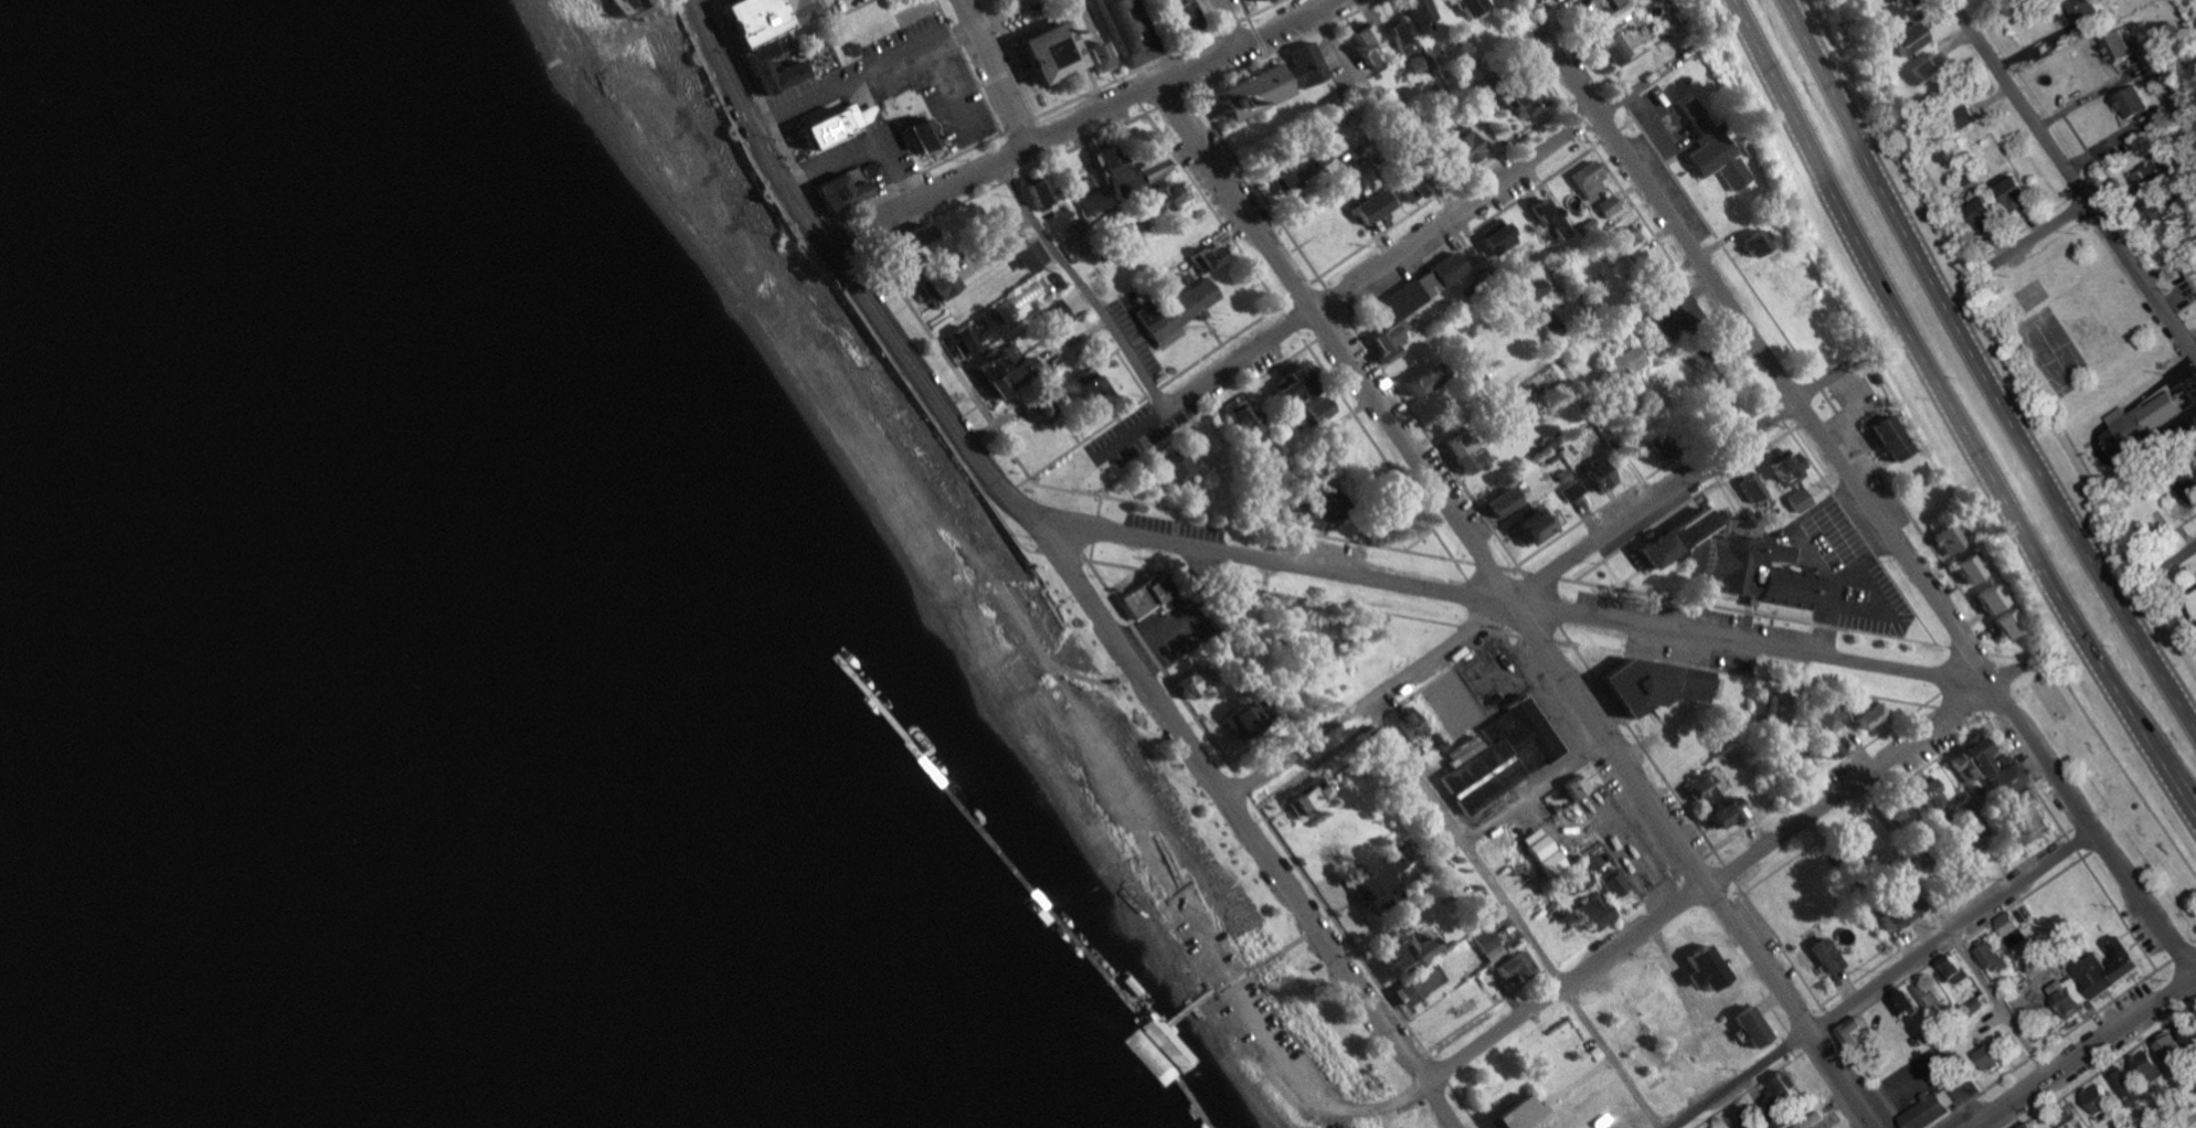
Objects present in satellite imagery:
building: (1566, 0)
road: (713, 3)
road: (723, 3)
park: (627, 6)
building: (1464, 7)
road: (1262, 9)
road: (626, 10)
building: (2081, 10)
road: (1245, 12)
building: (1610, 15)
building: (1174, 17)
road: (1206, 17)
building: (764, 19)
road: (1228, 24)
road: (1229, 25)
building: (1405, 28)
building: (1124, 29)
road: (609, 38)
road: (1259, 40)
building: (1901, 40)
building: (1359, 44)
road: (1583, 45)
building: (2112, 46)
road: (1282, 47)
building: (764, 49)
building: (1610, 51)
building: (1049, 55)
building: (1091, 56)
road: (1529, 57)
road: (1004, 58)
road: (890, 60)
parking lot: (1340, 61)
road: (1084, 64)
road: (967, 66)
road: (1018, 67)
building: (1922, 71)
road: (994, 74)
building: (773, 76)
road: (1122, 76)
parking lot: (824, 86)
building: (1266, 86)
road: (943, 91)
building: (1515, 98)
road: (1621, 98)
road: (1168, 102)
building: (2130, 103)
parking lot: (956, 109)
road: (764, 115)
building: (1965, 115)
road: (1085, 123)
road: (1626, 123)
road: (1576, 124)
road: (1018, 126)
road: (751, 127)
building: (824, 128)
road: (1610, 134)
building: (911, 135)
building: (1457, 146)
building: (1709, 149)
building: (1314, 158)
building: (1102, 163)
road: (915, 173)
building: (1285, 173)
road: (1011, 178)
road: (2071, 179)
building: (1585, 180)
building: (1403, 185)
building: (1081, 188)
road: (1258, 189)
building: (838, 190)
building: (1031, 192)
road: (1439, 192)
building: (2011, 193)
building: (1160, 196)
building: (1366, 207)
building: (1604, 207)
road: (1211, 210)
building: (2157, 212)
building: (1980, 215)
building: (1542, 221)
road: (1433, 228)
road: (844, 230)
road: (1471, 232)
building: (1490, 235)
road: (2037, 236)
building: (899, 240)
building: (1625, 241)
building: (1750, 243)
building: (1021, 256)
building: (1202, 257)
road: (1484, 257)
road: (1676, 268)
building: (929, 284)
road: (839, 288)
road: (1083, 288)
road: (1298, 290)
building: (1418, 290)
building: (1529, 290)
park: (2035, 297)
road: (1333, 299)
building: (1173, 313)
building: (1663, 315)
building: (1049, 317)
building: (1545, 320)
road: (1292, 323)
building: (983, 324)
road: (1211, 331)
road: (1327, 331)
building: (1381, 343)
road: (1550, 357)
road: (946, 359)
building: (1621, 363)
road: (1980, 366)
building: (998, 371)
road: (1802, 375)
road: (1133, 377)
road: (1938, 385)
building: (1287, 386)
building: (1088, 393)
road: (1145, 396)
building: (1032, 409)
building: (1314, 411)
road: (1776, 414)
road: (1205, 417)
building: (1241, 421)
building: (2142, 425)
road: (1132, 436)
building: (1889, 441)
road: (1432, 444)
road: (1375, 447)
building: (1461, 455)
flagpole: (1875, 457)
building: (1551, 460)
road: (1295, 461)
building: (1176, 468)
building: (1779, 469)
building: (1594, 477)
road: (1645, 481)
road: (1849, 487)
building: (1747, 489)
building: (2187, 491)
road: (1105, 492)
building: (1793, 501)
building: (1307, 502)
building: (1494, 503)
road: (1685, 503)
road: (1097, 506)
road: (1175, 515)
road: (1249, 522)
parking lot: (1175, 526)
road: (1092, 529)
building: (1525, 529)
road: (1858, 533)
building: (1667, 535)
building: (1944, 539)
road: (1419, 540)
road: (1057, 552)
road: (1089, 552)
road: (2177, 556)
road: (1080, 561)
road: (1487, 563)
parking lot: (1844, 567)
road: (1515, 568)
road: (1461, 570)
building: (1963, 570)
building: (1752, 573)
road: (1612, 574)
road: (1136, 575)
road: (1543, 575)
road: (1629, 575)
road: (1121, 578)
road: (1542, 578)
road: (1272, 592)
road: (1617, 593)
park: (986, 596)
building: (1143, 597)
road: (1707, 598)
building: (1986, 599)
road: (1541, 602)
road: (1511, 603)
road: (1472, 605)
road: (2188, 608)
road: (1517, 609)
road: (1761, 613)
road: (1184, 616)
road: (1525, 616)
parking lot: (1706, 618)
building: (2003, 624)
road: (1471, 625)
parking lot: (1175, 627)
road: (1500, 630)
river: (283, 636)
road: (1566, 636)
road: (1536, 638)
road: (1563, 643)
parking lot: (1731, 661)
road: (1160, 668)
road: (1754, 675)
road: (1091, 680)
road: (1143, 683)
building: (1185, 685)
building: (1647, 688)
park: (2050, 700)
building: (1770, 711)
road: (1379, 713)
road: (2002, 713)
building: (1860, 714)
building: (1817, 715)
road: (1945, 715)
road: (1967, 716)
building: (1233, 722)
building: (1398, 725)
road: (1584, 754)
road: (1647, 754)
building: (1498, 757)
building: (1967, 762)
road: (1827, 769)
road: (2025, 775)
building: (2002, 779)
building: (1701, 786)
road: (1243, 787)
building: (1570, 788)
road: (2178, 788)
road: (1536, 791)
building: (1923, 794)
building: (1302, 801)
road: (1865, 807)
building: (1958, 810)
building: (1717, 813)
building: (1888, 815)
building: (2035, 823)
road: (2080, 826)
road: (2073, 844)
road: (2097, 849)
building: (1591, 862)
road: (1691, 865)
road: (1729, 869)
road: (1728, 873)
building: (1963, 874)
building: (1579, 880)
building: (1368, 883)
road: (1661, 886)
building: (1613, 887)
road: (2028, 895)
pier: (1016, 905)
road: (2117, 909)
building: (1592, 913)
building: (1885, 914)
road: (1511, 915)
road: (1945, 915)
road: (1340, 927)
road: (1950, 930)
building: (2009, 930)
road: (1778, 946)
building: (1485, 948)
building: (1401, 953)
building: (1820, 956)
building: (1987, 956)
road: (2175, 957)
road: (1266, 965)
building: (1509, 968)
building: (2105, 968)
building: (1698, 970)
building: (1954, 970)
road: (1880, 979)
road: (1895, 987)
building: (1413, 988)
building: (2067, 994)
pier: (1107, 997)
building: (1926, 998)
building: (1900, 1004)
building: (1974, 1005)
road: (2104, 1005)
road: (1487, 1010)
road: (1773, 1012)
road: (1828, 1018)
building: (1743, 1028)
building: (2186, 1031)
building: (1849, 1033)
road: (1795, 1040)
building: (1171, 1042)
road: (1814, 1043)
building: (2167, 1047)
road: (2087, 1052)
building: (1987, 1056)
road: (2108, 1065)
building: (2147, 1066)
building: (1152, 1070)
road: (1438, 1070)
road: (1869, 1077)
parking lot: (1929, 1081)
building: (2124, 1085)
building: (1778, 1087)
road: (1748, 1088)
road: (1984, 1089)
building: (2097, 1099)
pier: (1148, 1105)
road: (1463, 1105)
building: (1924, 1111)
building: (1509, 1113)
building: (1739, 1117)
building: (2070, 1119)
road: (2188, 1122)
building: (2027, 1126)
building: (2193, 1127)

